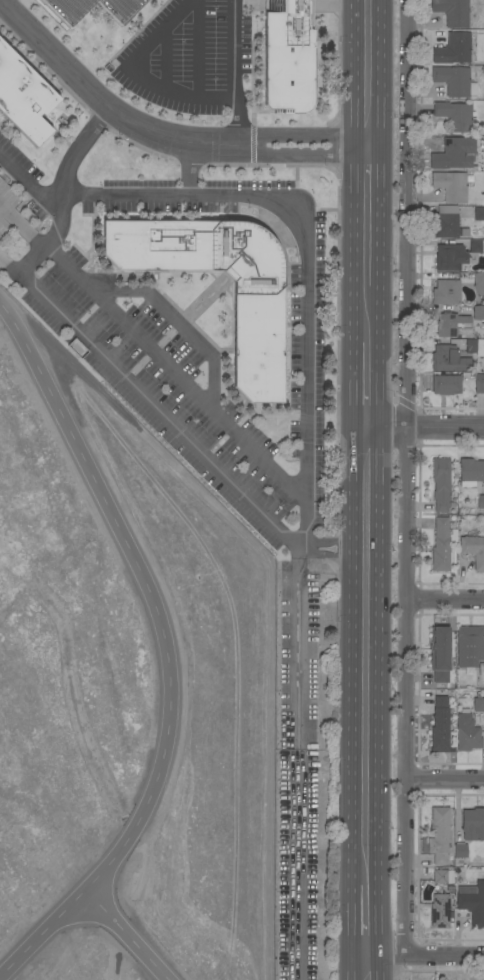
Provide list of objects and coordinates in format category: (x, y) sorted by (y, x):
road: (119, 0)
road: (73, 5)
building: (452, 12)
building: (67, 13)
parking lot: (67, 13)
road: (197, 48)
road: (231, 49)
building: (453, 49)
parking lot: (186, 55)
building: (288, 55)
road: (136, 72)
road: (367, 73)
building: (454, 81)
building: (23, 97)
building: (454, 115)
road: (237, 121)
road: (159, 135)
building: (454, 153)
parking lot: (20, 155)
road: (78, 156)
road: (186, 172)
building: (451, 186)
parking lot: (180, 194)
building: (6, 205)
building: (479, 214)
road: (366, 216)
building: (447, 223)
parking lot: (10, 227)
road: (304, 235)
building: (457, 255)
building: (479, 279)
building: (446, 293)
building: (478, 313)
road: (365, 314)
road: (177, 323)
building: (451, 324)
building: (258, 334)
building: (475, 346)
building: (77, 348)
building: (450, 359)
road: (168, 368)
parking lot: (311, 371)
parking lot: (160, 384)
building: (446, 384)
road: (364, 386)
building: (479, 386)
road: (149, 403)
road: (423, 429)
building: (470, 472)
road: (402, 478)
building: (441, 483)
road: (364, 488)
building: (481, 501)
building: (442, 544)
building: (474, 550)
road: (443, 601)
building: (469, 646)
road: (165, 649)
building: (439, 649)
building: (481, 669)
building: (441, 677)
airport: (124, 698)
building: (478, 705)
road: (364, 715)
building: (440, 722)
building: (467, 733)
parking lot: (296, 775)
road: (443, 779)
building: (473, 824)
building: (438, 836)
building: (460, 850)
road: (305, 868)
building: (442, 876)
building: (472, 902)
building: (440, 911)
road: (364, 921)
road: (125, 935)
road: (424, 957)
road: (364, 968)

